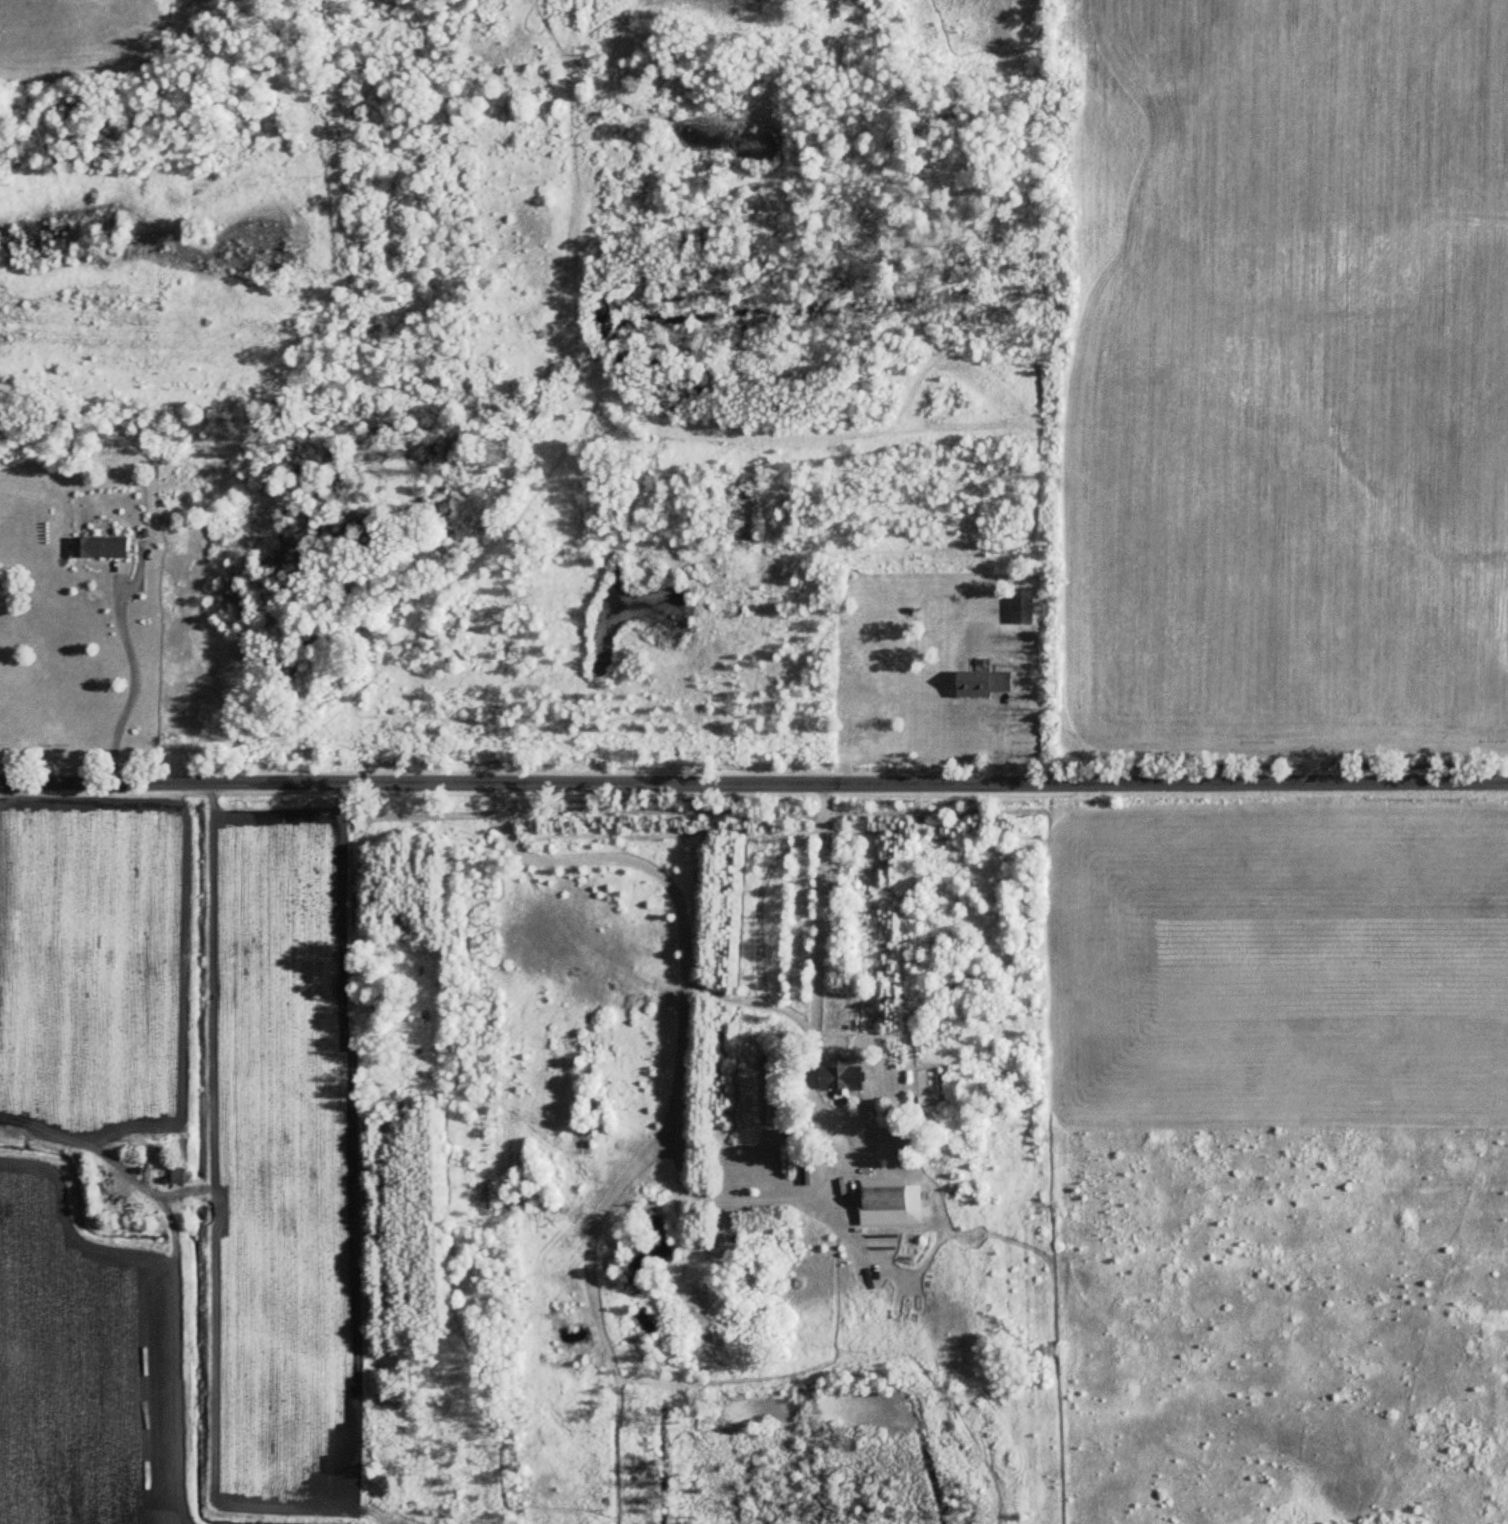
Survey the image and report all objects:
building: (100, 546)
building: (1021, 605)
road: (137, 683)
building: (982, 683)
road: (753, 783)
road: (670, 885)
road: (762, 896)
road: (819, 955)
building: (840, 1079)
building: (177, 1176)
building: (883, 1198)

